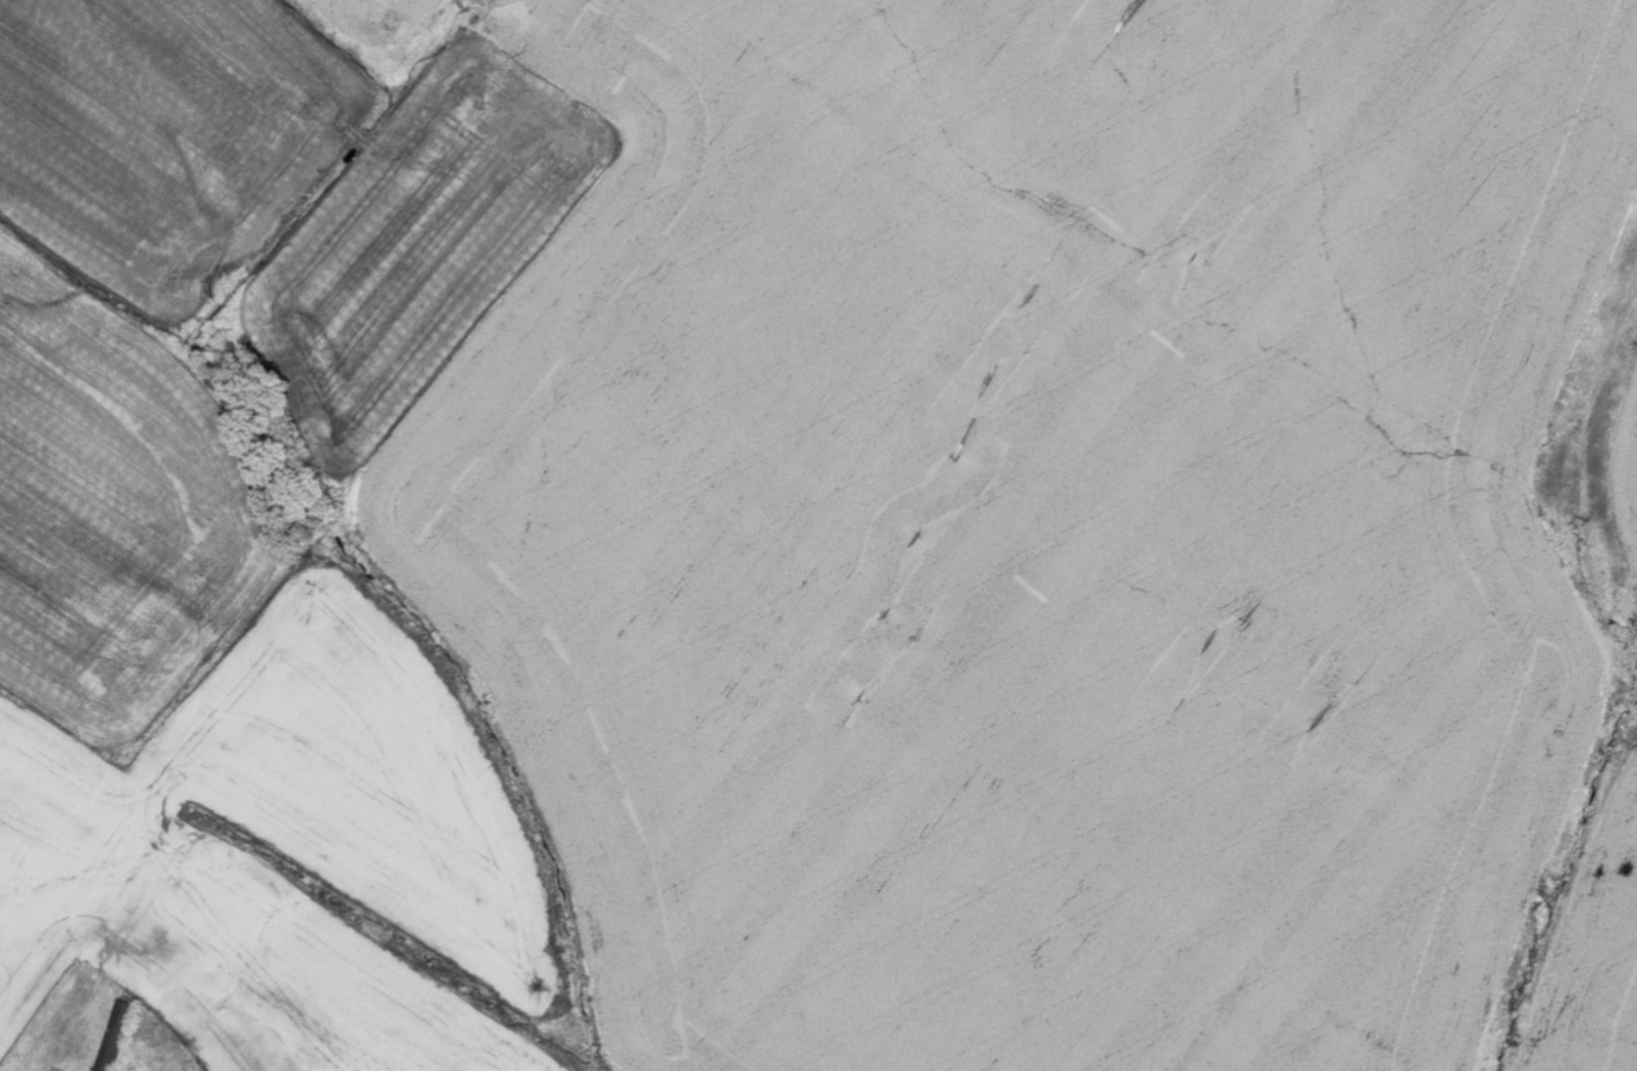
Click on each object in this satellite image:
building: (123, 1022)

